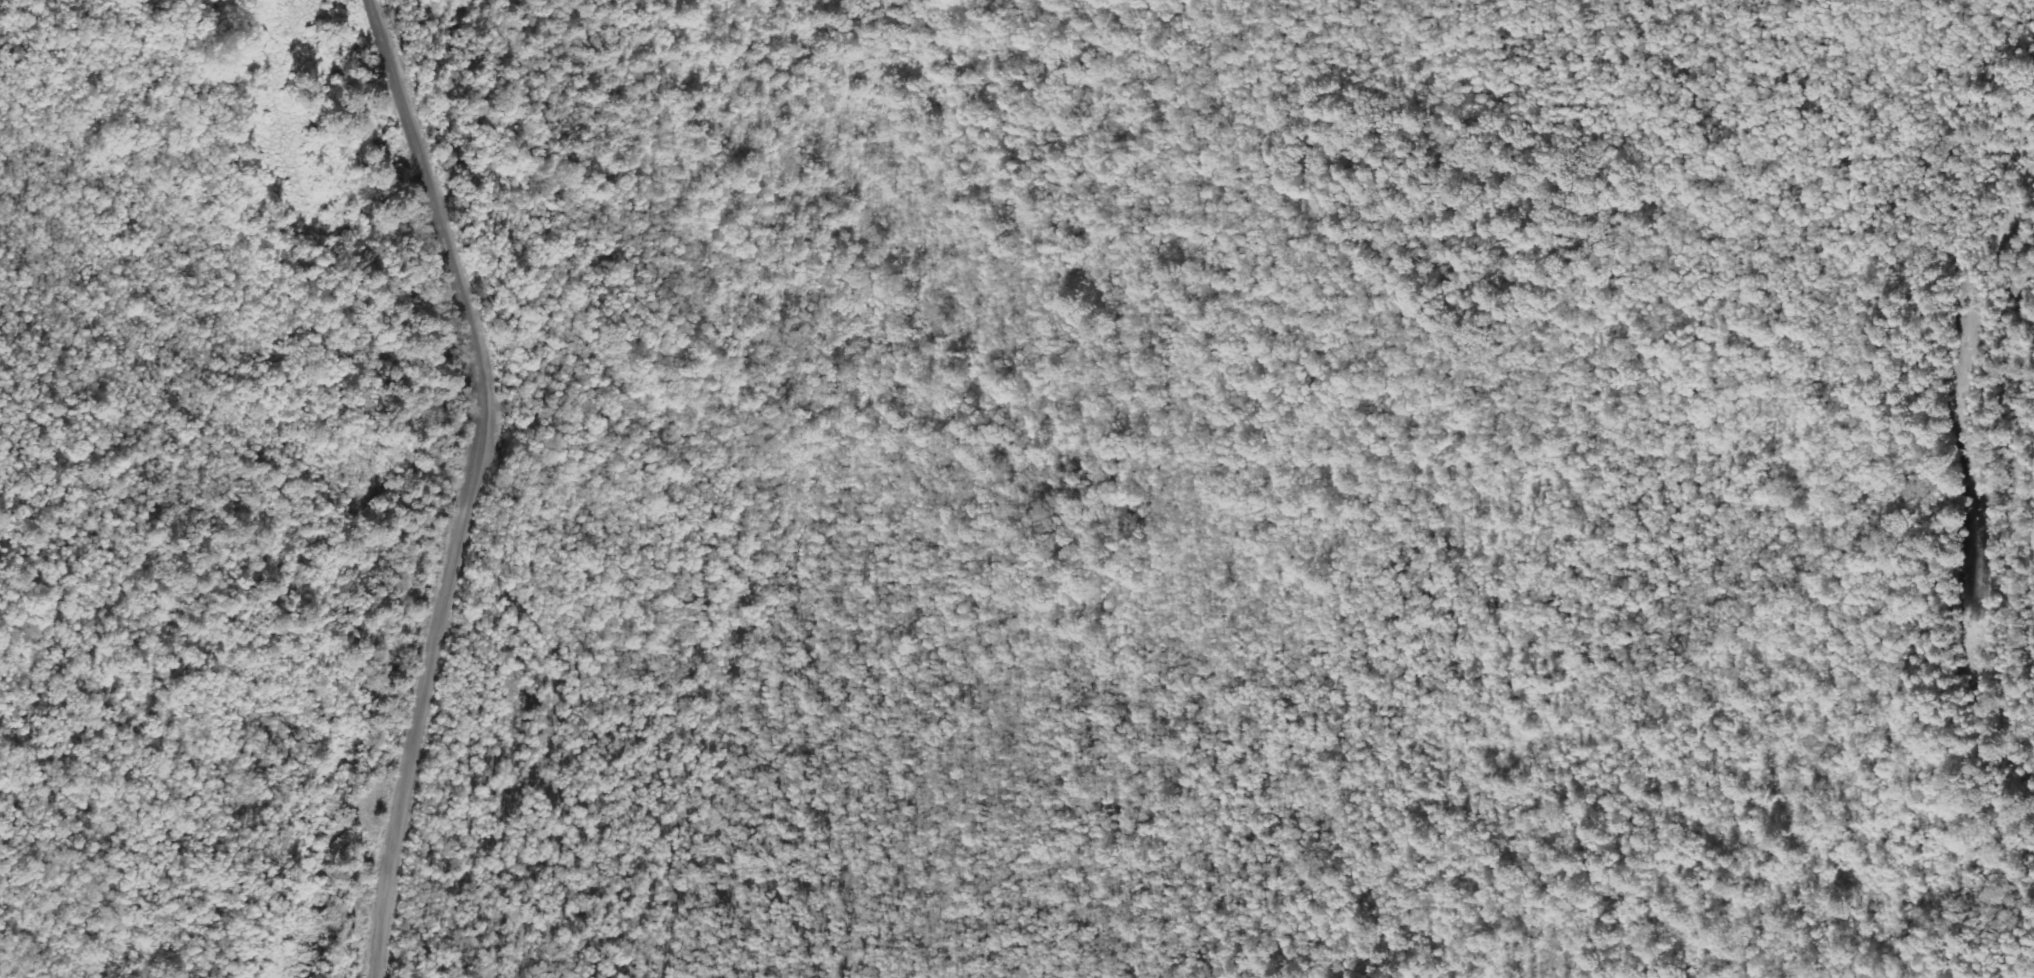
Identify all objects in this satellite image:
road: (480, 484)

